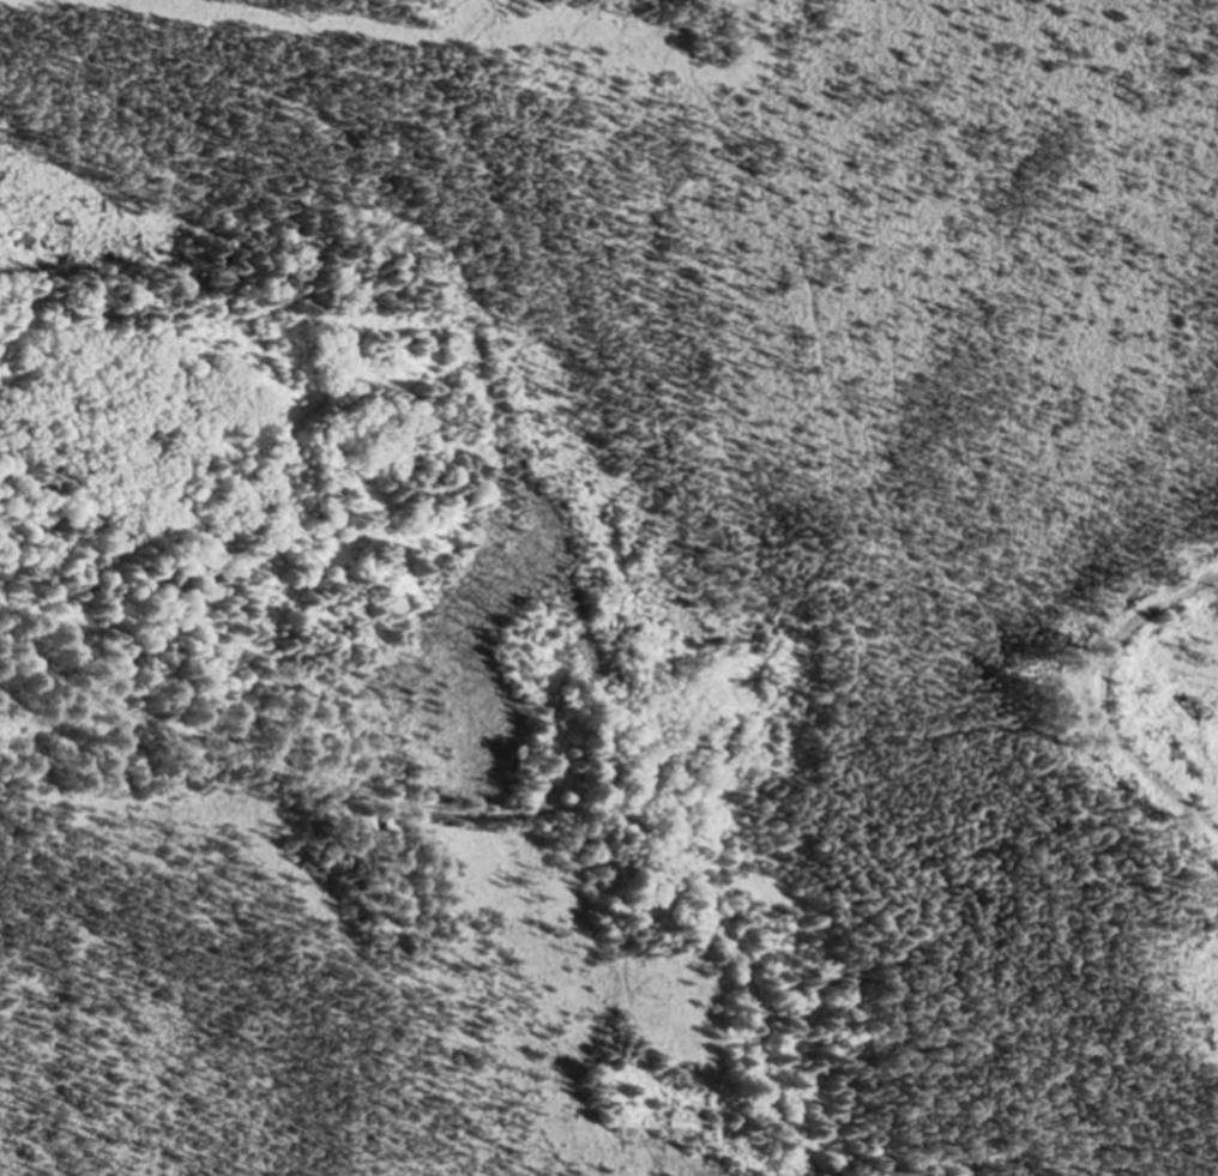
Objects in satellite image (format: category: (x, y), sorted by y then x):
road: (488, 783)

